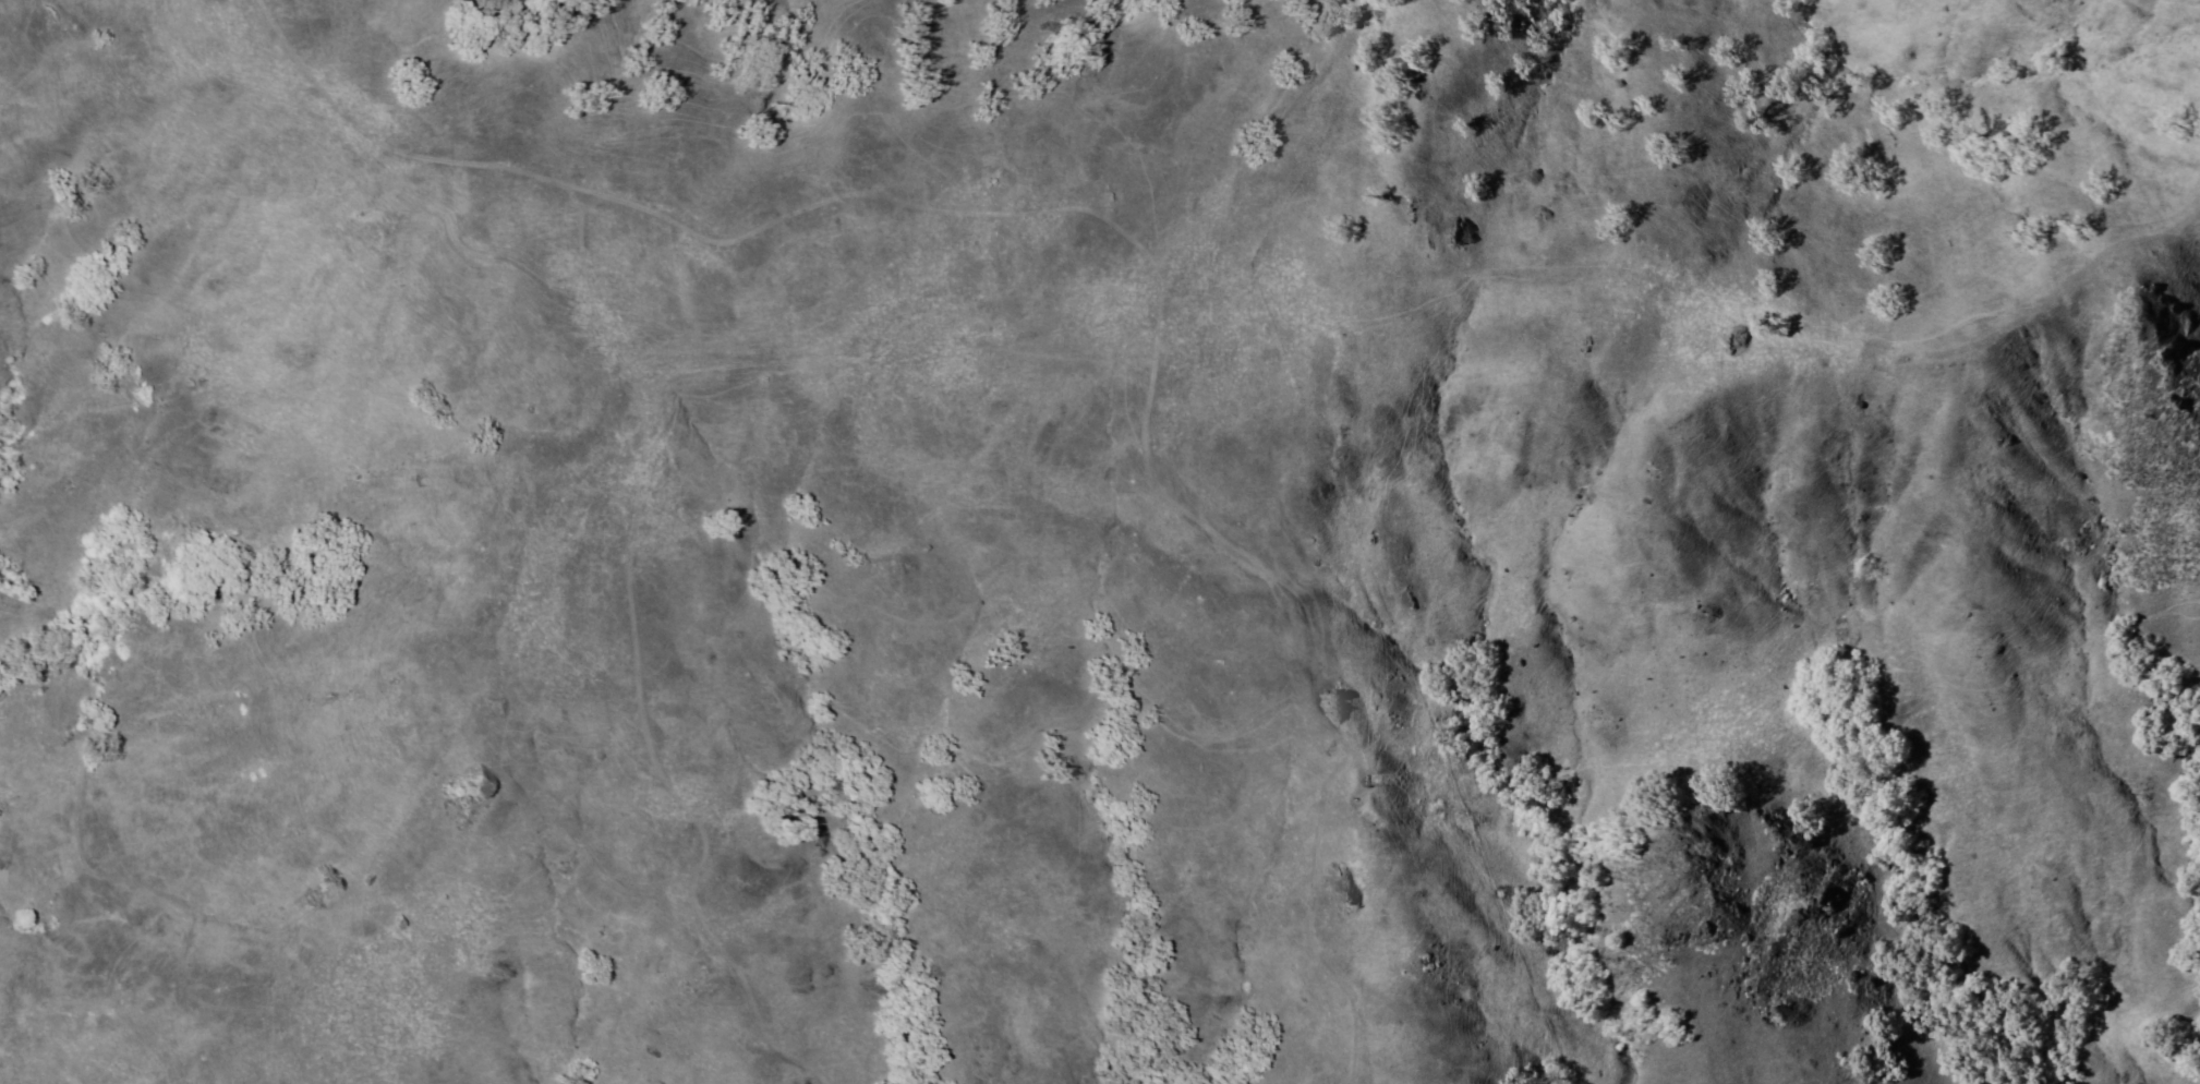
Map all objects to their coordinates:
road: (1206, 273)
road: (1220, 531)
road: (639, 669)

